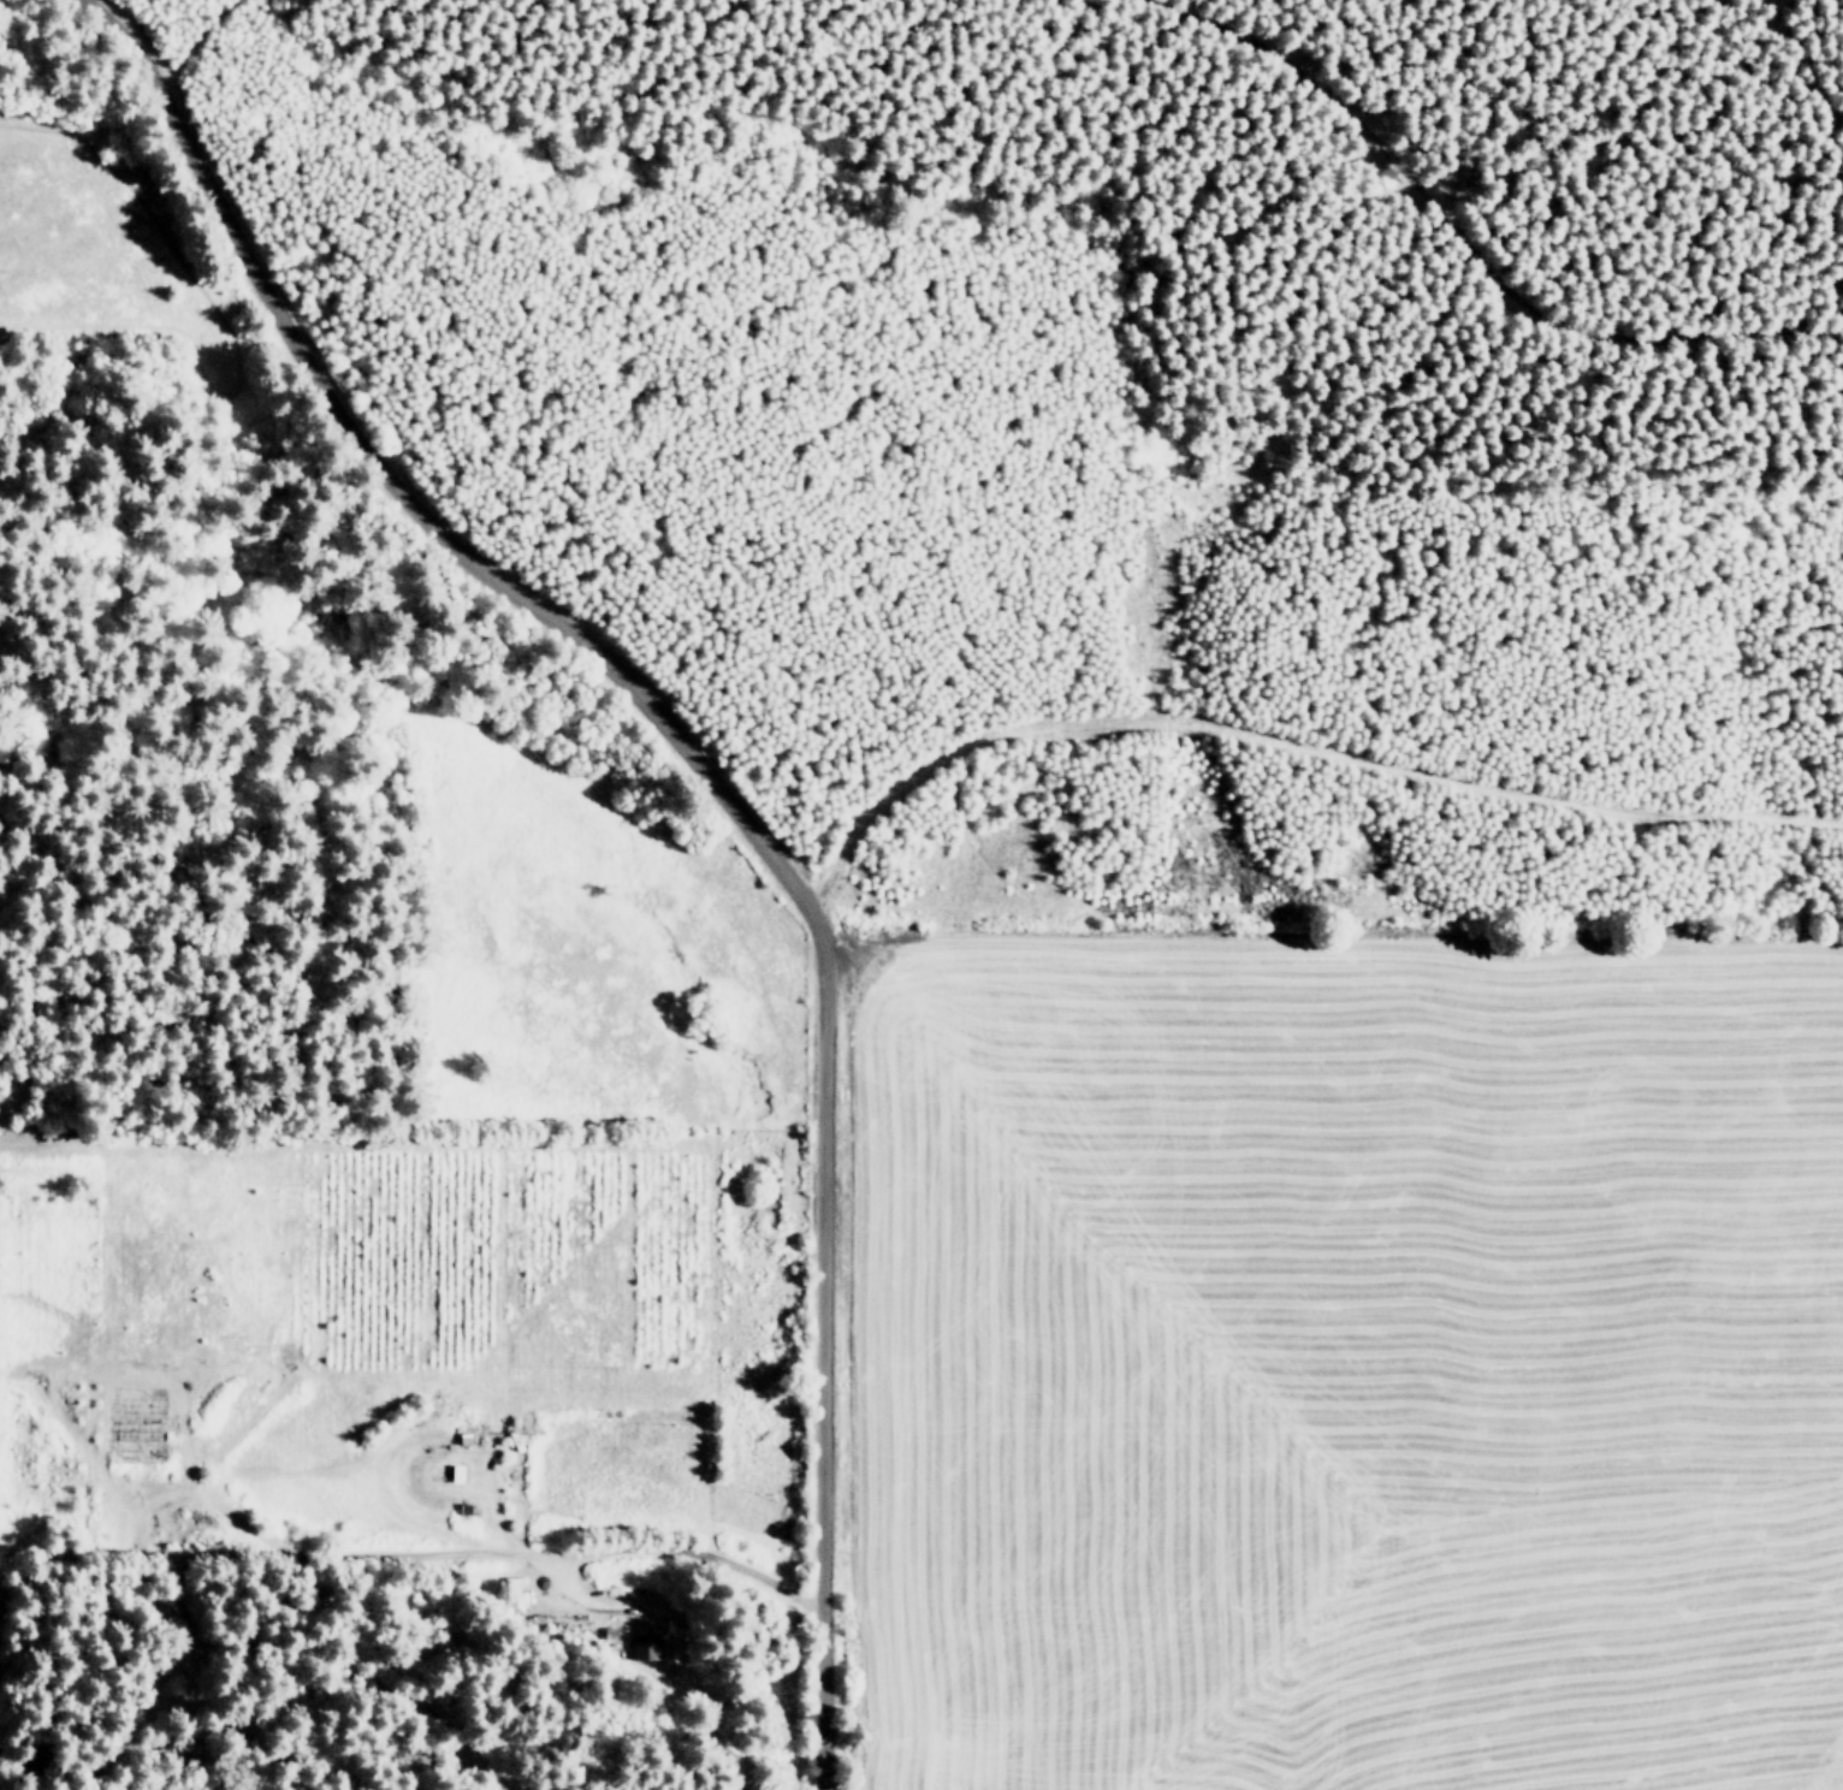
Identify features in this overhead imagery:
road: (718, 793)

